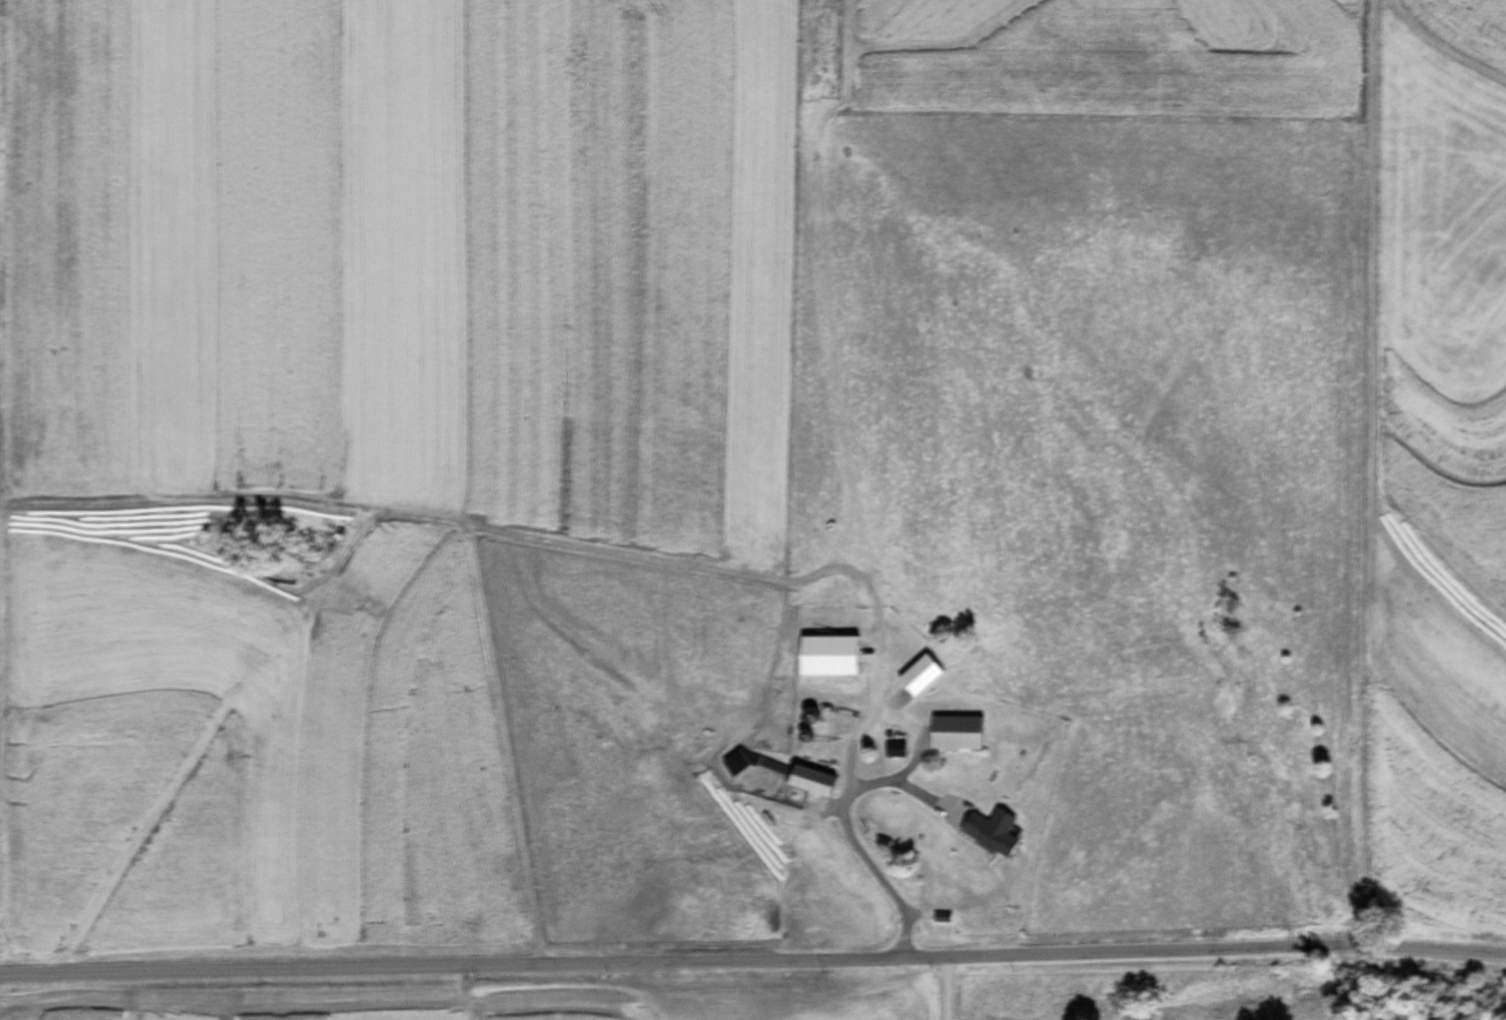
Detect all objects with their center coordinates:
building: (917, 676)
building: (955, 734)
building: (893, 750)
building: (770, 767)
road: (848, 772)
building: (810, 782)
building: (989, 832)
road: (753, 960)

